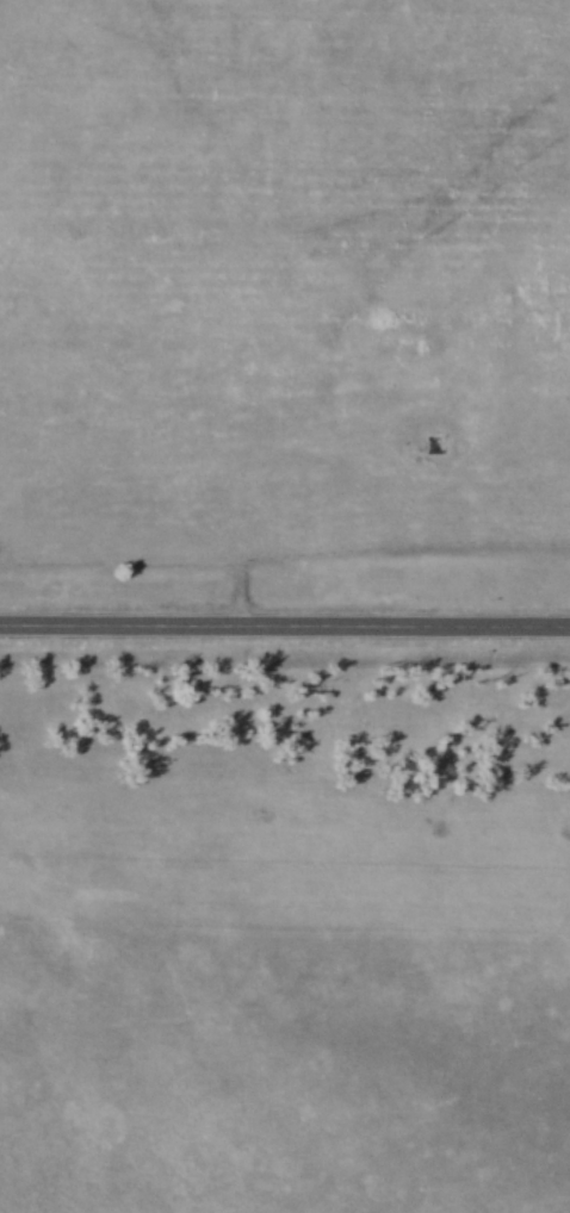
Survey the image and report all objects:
road: (285, 621)

